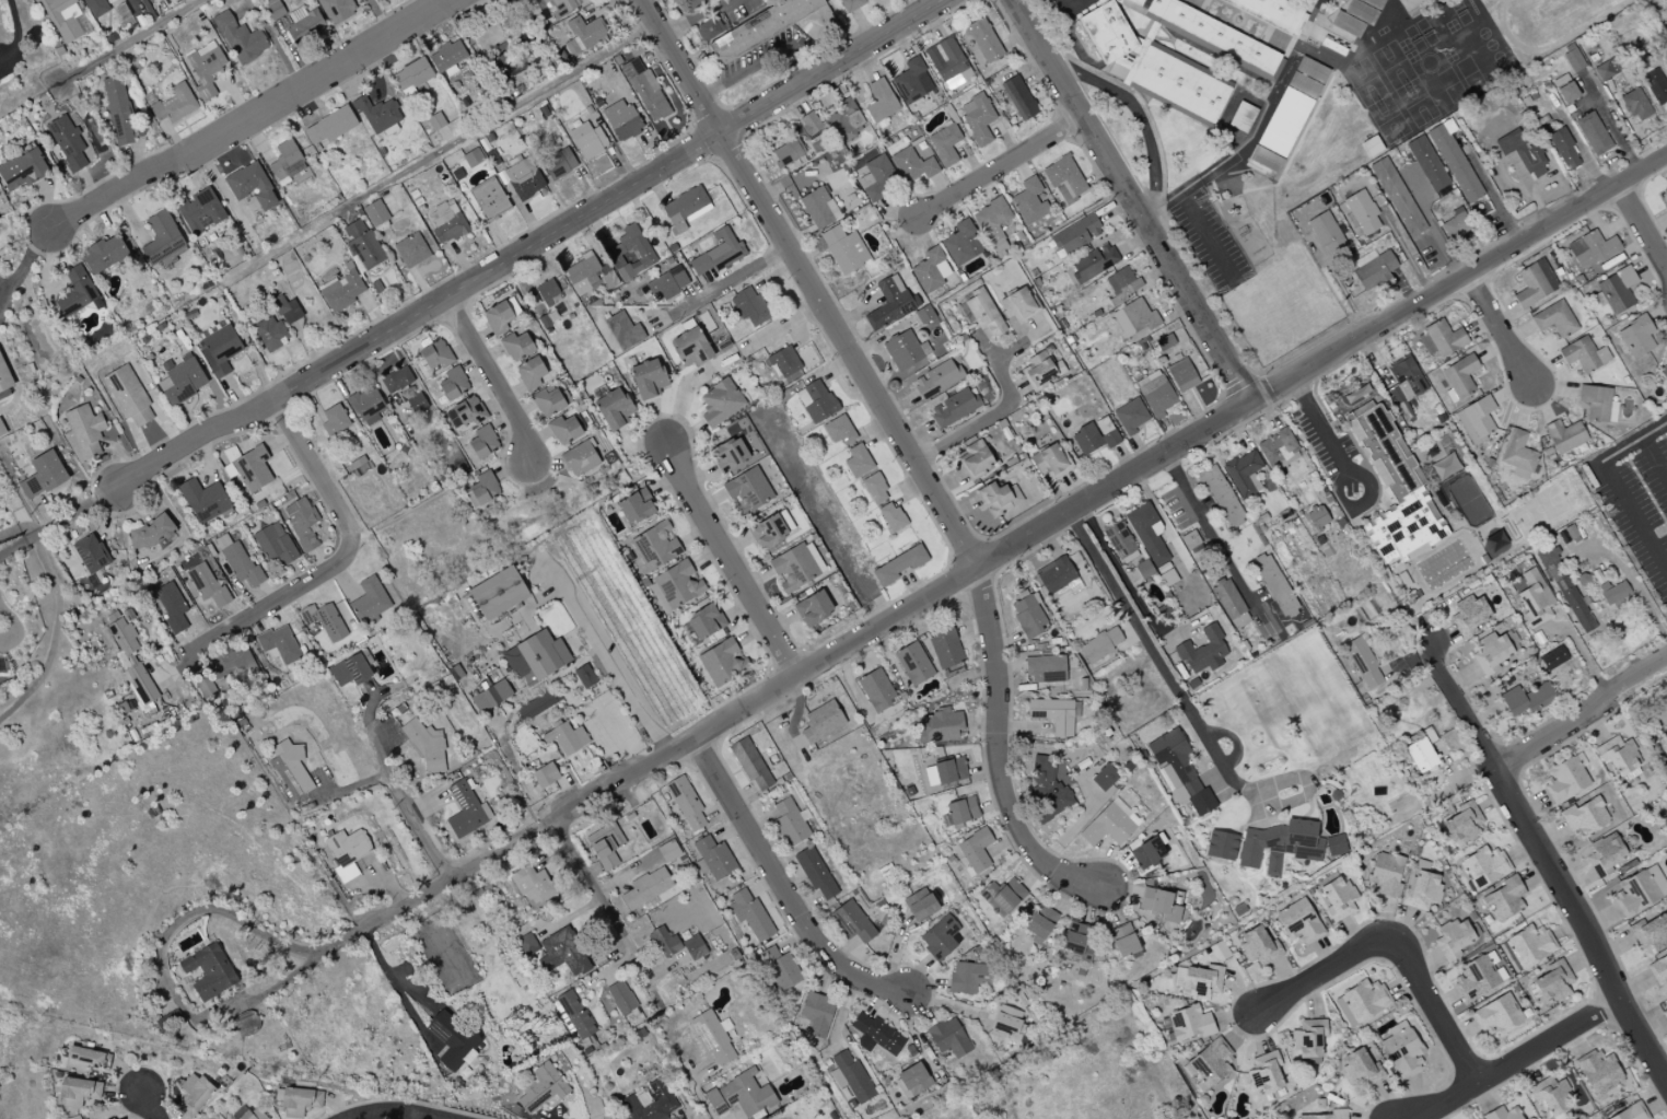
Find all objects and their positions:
building: (1099, 1)
building: (1116, 1)
building: (1343, 1)
road: (1076, 2)
building: (1135, 2)
building: (692, 3)
building: (1373, 3)
building: (850, 4)
building: (561, 7)
building: (95, 8)
building: (272, 8)
building: (335, 10)
parking lot: (1068, 11)
building: (1360, 11)
building: (1272, 13)
road: (692, 16)
building: (63, 19)
track: (1549, 21)
park: (1544, 23)
building: (303, 24)
building: (1347, 24)
building: (765, 26)
building: (1315, 26)
building: (709, 27)
road: (14, 32)
building: (1107, 32)
building: (583, 35)
building: (483, 37)
building: (1214, 37)
building: (238, 38)
building: (983, 39)
building: (1329, 40)
road: (128, 42)
building: (1134, 53)
building: (511, 57)
building: (446, 58)
building: (1572, 60)
road: (754, 63)
building: (947, 63)
building: (205, 68)
park: (1426, 69)
building: (1312, 70)
building: (1605, 70)
road: (1094, 71)
building: (1117, 71)
building: (411, 77)
building: (911, 81)
building: (1178, 84)
building: (1303, 85)
building: (1655, 86)
building: (643, 89)
building: (1565, 93)
building: (1018, 98)
road: (1270, 98)
building: (879, 102)
building: (173, 104)
building: (1634, 104)
building: (117, 108)
road: (1136, 113)
building: (377, 115)
building: (1241, 117)
road: (253, 118)
building: (976, 118)
building: (853, 119)
building: (621, 120)
building: (434, 121)
building: (839, 121)
building: (1284, 121)
building: (809, 124)
building: (329, 126)
road: (1610, 127)
building: (1592, 133)
building: (586, 140)
building: (66, 141)
building: (944, 143)
building: (1185, 143)
building: (1562, 149)
building: (788, 152)
road: (435, 153)
road: (1158, 153)
road: (1584, 155)
building: (1520, 156)
building: (471, 158)
building: (1264, 159)
building: (284, 162)
building: (557, 163)
building: (1453, 163)
building: (1425, 164)
building: (911, 165)
road: (1000, 167)
building: (22, 168)
building: (874, 177)
building: (523, 178)
building: (1063, 179)
road: (1273, 182)
building: (249, 185)
road: (1213, 189)
building: (1665, 191)
road: (1175, 195)
building: (1396, 197)
building: (488, 199)
road: (1131, 200)
building: (1028, 201)
road: (1493, 201)
building: (817, 207)
road: (1143, 207)
building: (1666, 207)
building: (684, 208)
building: (198, 210)
building: (1361, 212)
building: (374, 213)
building: (445, 222)
building: (991, 223)
building: (1455, 223)
road: (1641, 229)
building: (1075, 234)
building: (1325, 234)
building: (160, 237)
road: (1205, 237)
parking lot: (1209, 241)
road: (1170, 242)
building: (960, 243)
building: (361, 244)
road: (529, 247)
building: (843, 249)
building: (1590, 249)
building: (410, 250)
building: (629, 252)
building: (716, 253)
building: (103, 254)
building: (1093, 263)
road: (23, 265)
building: (1372, 269)
building: (930, 270)
road: (733, 276)
building: (585, 277)
road: (1458, 280)
road: (806, 282)
building: (666, 283)
building: (1534, 283)
building: (1121, 284)
building: (1614, 290)
building: (75, 292)
building: (547, 293)
building: (889, 303)
building: (1018, 304)
building: (748, 306)
road: (1271, 307)
building: (285, 310)
building: (982, 311)
building: (500, 316)
building: (1553, 319)
building: (622, 330)
road: (1497, 330)
building: (269, 334)
building: (1635, 337)
building: (1439, 339)
building: (1164, 341)
road: (1017, 346)
building: (515, 347)
building: (690, 347)
building: (219, 350)
building: (901, 350)
building: (1665, 352)
building: (434, 354)
building: (1583, 354)
building: (783, 361)
road: (720, 362)
building: (1041, 370)
building: (1664, 371)
building: (528, 373)
building: (1180, 375)
building: (3, 377)
road: (490, 377)
building: (1458, 377)
building: (395, 378)
building: (646, 378)
building: (936, 378)
building: (180, 380)
building: (1403, 382)
building: (453, 384)
road: (1239, 384)
road: (1264, 389)
building: (1154, 393)
building: (127, 395)
building: (548, 401)
building: (815, 401)
building: (719, 403)
building: (1594, 403)
building: (416, 404)
building: (365, 406)
building: (953, 407)
building: (613, 408)
building: (465, 411)
road: (993, 411)
building: (1129, 416)
building: (333, 420)
building: (1474, 420)
building: (564, 429)
building: (1, 430)
building: (83, 430)
building: (838, 430)
road: (1320, 433)
building: (1562, 435)
building: (1092, 439)
building: (482, 442)
building: (1278, 450)
building: (728, 454)
building: (1516, 454)
building: (579, 458)
building: (974, 459)
building: (856, 461)
building: (1049, 461)
road: (1653, 461)
building: (359, 466)
building: (248, 467)
building: (1243, 473)
building: (42, 475)
road: (1613, 483)
building: (874, 488)
building: (481, 489)
building: (747, 489)
building: (1394, 490)
building: (1220, 496)
building: (998, 497)
building: (202, 500)
building: (634, 506)
road: (71, 513)
road: (820, 515)
building: (890, 516)
building: (1316, 517)
building: (300, 523)
road: (18, 529)
building: (770, 531)
building: (149, 533)
building: (1146, 533)
road: (1209, 533)
building: (1117, 539)
building: (1494, 543)
building: (273, 544)
building: (654, 546)
road: (13, 549)
building: (90, 553)
road: (345, 557)
road: (726, 560)
building: (237, 562)
building: (794, 566)
building: (897, 566)
building: (1143, 569)
road: (1629, 578)
building: (206, 584)
building: (1273, 585)
building: (674, 586)
building: (1564, 590)
building: (496, 592)
building: (1614, 595)
building: (1532, 598)
building: (368, 601)
building: (1228, 604)
building: (170, 606)
building: (812, 608)
building: (1027, 616)
building: (1468, 616)
building: (323, 620)
building: (704, 621)
building: (120, 632)
building: (278, 644)
building: (1098, 644)
building: (944, 648)
building: (1202, 651)
building: (1492, 651)
road: (1579, 653)
building: (533, 656)
building: (1552, 657)
building: (721, 662)
building: (912, 663)
road: (1159, 663)
building: (1362, 663)
building: (232, 664)
road: (808, 668)
building: (1045, 668)
building: (348, 671)
building: (585, 674)
road: (617, 674)
building: (140, 683)
building: (488, 690)
building: (875, 690)
building: (1526, 699)
building: (534, 706)
road: (502, 714)
building: (1052, 714)
road: (1583, 715)
building: (820, 722)
building: (553, 723)
road: (588, 725)
building: (937, 726)
building: (564, 737)
road: (576, 750)
road: (994, 751)
building: (1420, 755)
building: (1617, 755)
building: (749, 764)
building: (289, 769)
road: (586, 771)
building: (1178, 772)
building: (544, 776)
building: (1103, 778)
building: (1563, 780)
building: (1048, 785)
road: (395, 793)
building: (685, 803)
building: (465, 811)
building: (960, 811)
building: (1584, 817)
building: (789, 821)
building: (1109, 824)
building: (1461, 824)
building: (604, 843)
building: (1283, 844)
building: (1220, 846)
building: (975, 850)
building: (667, 851)
building: (1146, 851)
building: (346, 852)
building: (1605, 854)
building: (712, 859)
road: (1546, 864)
building: (1483, 866)
building: (815, 873)
building: (1385, 873)
building: (532, 884)
building: (645, 887)
road: (780, 887)
building: (1421, 890)
building: (1639, 890)
building: (1005, 897)
building: (1337, 898)
road: (599, 899)
building: (1503, 899)
building: (919, 905)
building: (1157, 905)
building: (748, 913)
building: (851, 922)
building: (1297, 922)
building: (1039, 923)
building: (1649, 933)
building: (940, 937)
building: (1455, 937)
building: (1076, 940)
building: (1121, 941)
building: (664, 942)
building: (525, 944)
building: (1528, 945)
building: (1257, 946)
building: (692, 947)
building: (561, 953)
building: (779, 968)
building: (208, 970)
road: (387, 970)
building: (1658, 970)
road: (1320, 976)
building: (966, 977)
building: (1473, 978)
building: (1200, 980)
building: (1551, 982)
road: (170, 989)
building: (619, 998)
building: (1361, 1001)
road: (1433, 1012)
building: (572, 1014)
building: (815, 1014)
building: (1664, 1014)
building: (1496, 1016)
building: (1005, 1021)
building: (245, 1023)
building: (1188, 1024)
building: (874, 1035)
building: (711, 1038)
building: (947, 1038)
building: (451, 1040)
building: (1307, 1040)
building: (1401, 1049)
building: (84, 1059)
building: (1211, 1062)
road: (1513, 1063)
building: (1359, 1068)
building: (1597, 1072)
building: (1264, 1073)
building: (850, 1077)
building: (912, 1079)
building: (540, 1088)
building: (77, 1092)
building: (193, 1094)
building: (1549, 1095)
road: (702, 1099)
building: (296, 1100)
building: (651, 1101)
road: (147, 1105)
road: (408, 1106)
building: (1522, 1107)
building: (1630, 1112)
building: (252, 1114)
building: (1501, 1114)
building: (1326, 1115)
building: (110, 1118)

